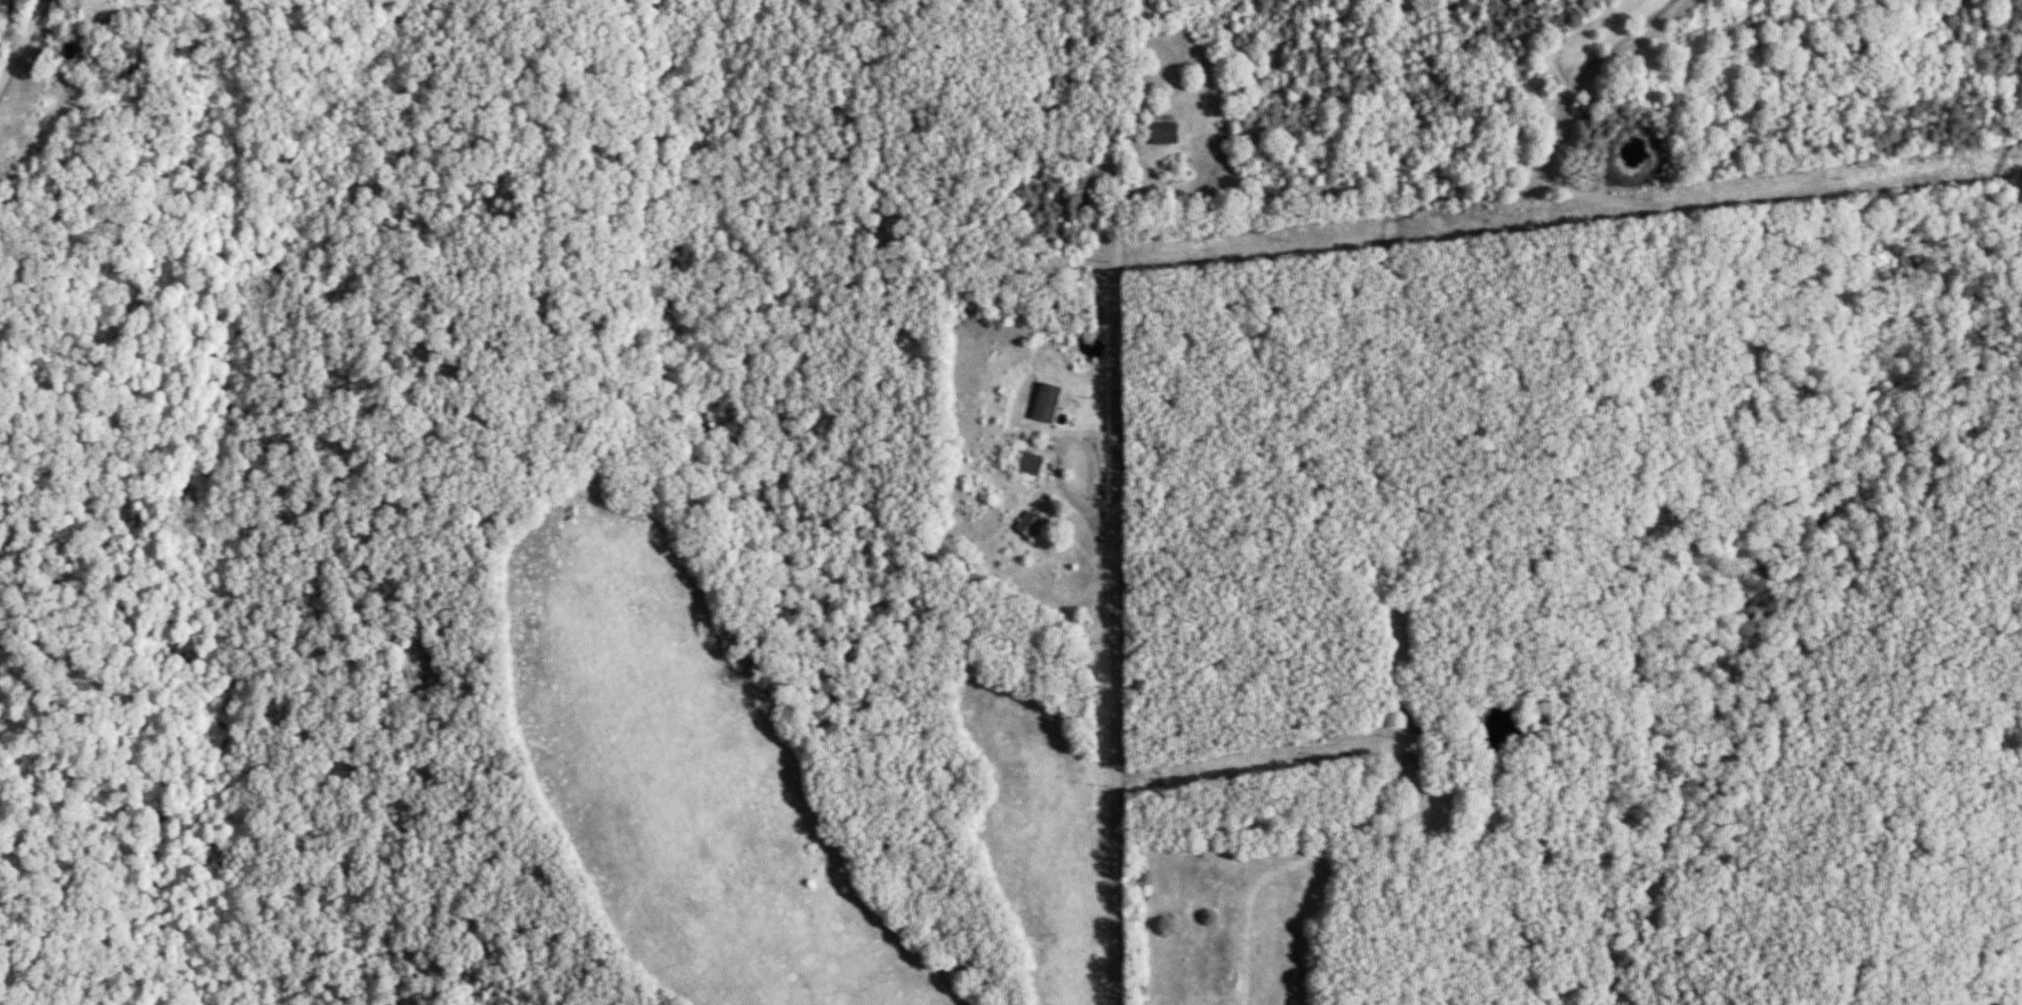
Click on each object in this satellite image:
building: (4, 7)
road: (22, 39)
building: (1159, 133)
building: (1041, 404)
building: (1025, 464)
building: (1023, 525)
road: (1113, 642)
building: (1399, 712)
building: (1406, 768)

